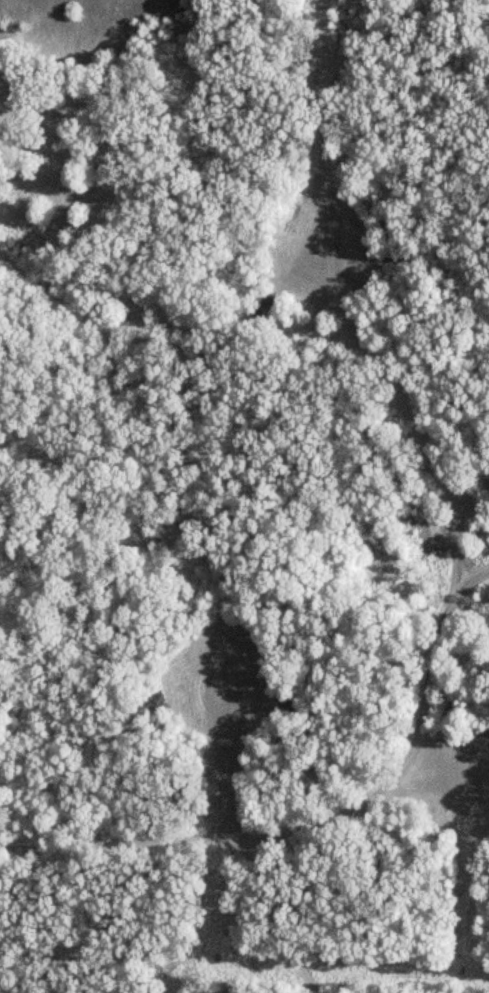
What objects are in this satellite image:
building: (3, 84)
building: (51, 157)
road: (336, 196)
road: (159, 337)
road: (464, 625)
road: (424, 707)
road: (275, 921)

